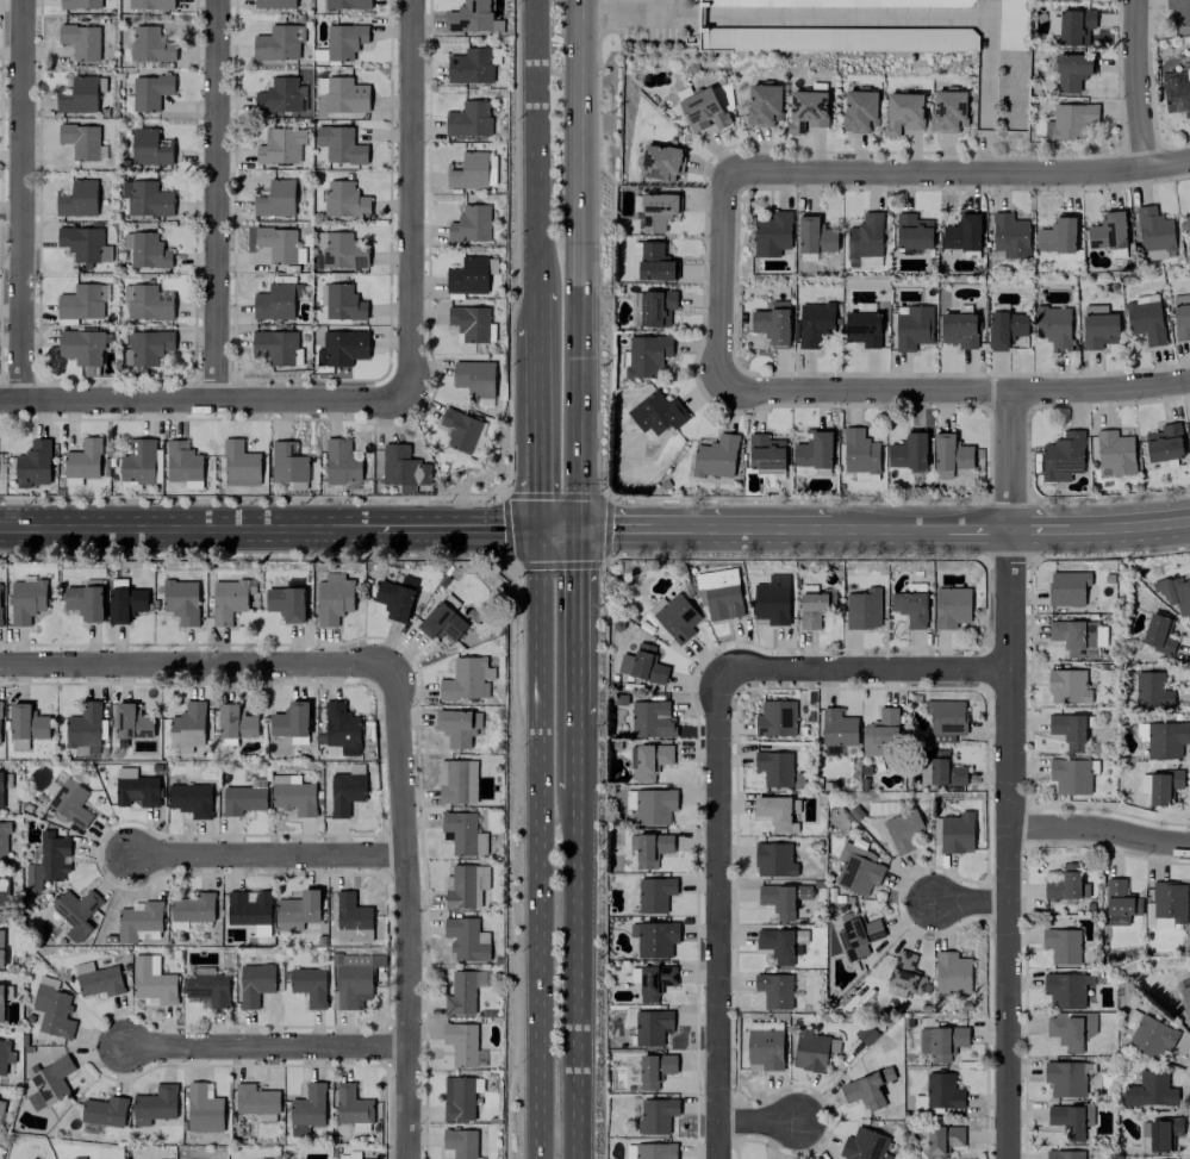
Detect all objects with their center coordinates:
building: (840, 2)
building: (79, 4)
building: (150, 4)
building: (274, 4)
building: (347, 4)
building: (1179, 11)
road: (629, 14)
building: (469, 15)
road: (681, 15)
road: (700, 15)
road: (846, 17)
building: (1014, 24)
building: (1076, 26)
building: (836, 38)
building: (80, 40)
building: (343, 40)
building: (278, 42)
building: (150, 44)
building: (472, 66)
building: (1071, 71)
road: (1142, 83)
road: (985, 86)
building: (149, 91)
building: (1176, 91)
building: (79, 95)
building: (279, 95)
building: (339, 95)
building: (762, 104)
building: (702, 110)
building: (806, 110)
building: (859, 110)
building: (947, 110)
building: (902, 112)
building: (468, 119)
building: (1070, 120)
building: (80, 141)
building: (339, 144)
building: (280, 145)
road: (534, 145)
building: (150, 147)
building: (660, 162)
building: (469, 170)
road: (957, 172)
building: (145, 198)
building: (274, 198)
road: (415, 198)
road: (24, 199)
building: (76, 199)
road: (218, 199)
building: (344, 199)
building: (656, 211)
building: (469, 223)
building: (1184, 225)
building: (912, 231)
building: (1108, 231)
building: (772, 233)
building: (961, 233)
building: (1153, 233)
building: (865, 236)
building: (1010, 236)
building: (1057, 236)
building: (278, 243)
building: (83, 244)
building: (148, 250)
building: (341, 250)
building: (654, 262)
building: (864, 262)
road: (575, 263)
building: (467, 275)
road: (724, 280)
building: (82, 301)
building: (274, 301)
building: (149, 303)
building: (343, 303)
building: (652, 307)
road: (535, 309)
building: (1180, 316)
building: (1145, 320)
building: (471, 323)
building: (772, 323)
building: (814, 323)
building: (912, 326)
building: (1053, 326)
building: (1097, 326)
building: (862, 328)
building: (958, 329)
building: (1004, 329)
building: (148, 347)
building: (274, 347)
building: (342, 347)
building: (82, 349)
building: (647, 354)
building: (474, 378)
road: (957, 390)
road: (207, 398)
building: (656, 413)
building: (1189, 419)
road: (536, 426)
building: (459, 430)
building: (1163, 442)
building: (859, 451)
building: (908, 451)
building: (765, 453)
building: (812, 453)
building: (1114, 453)
building: (949, 454)
building: (715, 456)
building: (1061, 456)
road: (1016, 459)
building: (83, 460)
building: (341, 461)
building: (33, 462)
building: (138, 462)
building: (182, 462)
building: (287, 462)
building: (239, 463)
building: (403, 468)
road: (1129, 524)
road: (1042, 526)
road: (185, 528)
road: (399, 528)
road: (482, 528)
traffic signals: (537, 528)
road: (556, 528)
traffic signals: (575, 528)
road: (613, 528)
road: (742, 528)
road: (887, 528)
road: (979, 528)
building: (1067, 587)
building: (718, 593)
building: (1175, 593)
building: (395, 597)
building: (332, 598)
building: (228, 599)
building: (771, 599)
building: (25, 600)
building: (180, 600)
building: (83, 602)
building: (124, 602)
building: (286, 603)
building: (951, 606)
building: (814, 607)
building: (909, 607)
building: (862, 609)
building: (674, 617)
building: (0, 623)
building: (442, 623)
road: (575, 623)
building: (1158, 634)
road: (195, 663)
building: (642, 665)
road: (867, 669)
building: (467, 679)
building: (1067, 686)
building: (1152, 691)
building: (775, 718)
building: (650, 719)
building: (945, 719)
building: (131, 721)
building: (26, 722)
building: (235, 722)
building: (291, 722)
building: (83, 725)
building: (187, 727)
building: (457, 727)
building: (341, 728)
building: (837, 728)
building: (1068, 729)
building: (880, 734)
building: (1165, 739)
road: (575, 756)
building: (648, 760)
building: (773, 768)
building: (939, 769)
building: (1072, 774)
building: (284, 779)
building: (453, 781)
building: (1144, 784)
building: (1163, 785)
building: (135, 787)
building: (0, 789)
building: (345, 790)
building: (243, 797)
building: (293, 798)
building: (189, 799)
building: (69, 802)
building: (654, 806)
building: (777, 812)
road: (1102, 829)
building: (903, 830)
building: (462, 833)
building: (953, 833)
building: (2, 842)
road: (1011, 842)
road: (537, 843)
building: (649, 848)
road: (268, 854)
building: (773, 859)
building: (48, 860)
building: (856, 868)
building: (1064, 883)
building: (465, 885)
building: (4, 893)
building: (654, 893)
building: (781, 898)
building: (1169, 901)
road: (973, 902)
building: (1120, 902)
building: (73, 908)
building: (248, 908)
building: (191, 909)
building: (297, 910)
road: (404, 914)
road: (719, 914)
building: (351, 918)
building: (138, 921)
building: (1161, 922)
building: (1189, 924)
building: (856, 935)
building: (654, 937)
building: (466, 939)
building: (780, 943)
building: (1061, 945)
building: (1, 947)
building: (951, 973)
building: (904, 976)
road: (574, 977)
building: (353, 978)
building: (96, 979)
building: (151, 980)
building: (654, 982)
building: (254, 984)
building: (309, 985)
building: (206, 987)
building: (1066, 989)
building: (774, 990)
building: (460, 993)
building: (1185, 998)
building: (1, 1002)
building: (51, 1008)
building: (652, 1027)
building: (1070, 1030)
building: (1148, 1034)
building: (941, 1042)
building: (462, 1045)
road: (263, 1048)
building: (764, 1049)
building: (810, 1049)
building: (5, 1054)
building: (654, 1070)
building: (1066, 1077)
building: (48, 1082)
building: (866, 1088)
building: (1149, 1090)
building: (942, 1091)
building: (457, 1098)
building: (255, 1099)
building: (154, 1104)
building: (351, 1104)
building: (1, 1105)
building: (307, 1107)
building: (203, 1108)
building: (104, 1111)
building: (656, 1115)
building: (1070, 1120)
road: (760, 1123)
building: (1159, 1133)
building: (942, 1140)
building: (460, 1142)
building: (864, 1145)
building: (654, 1151)
building: (1064, 1154)
building: (76, 1157)
building: (31, 1158)

